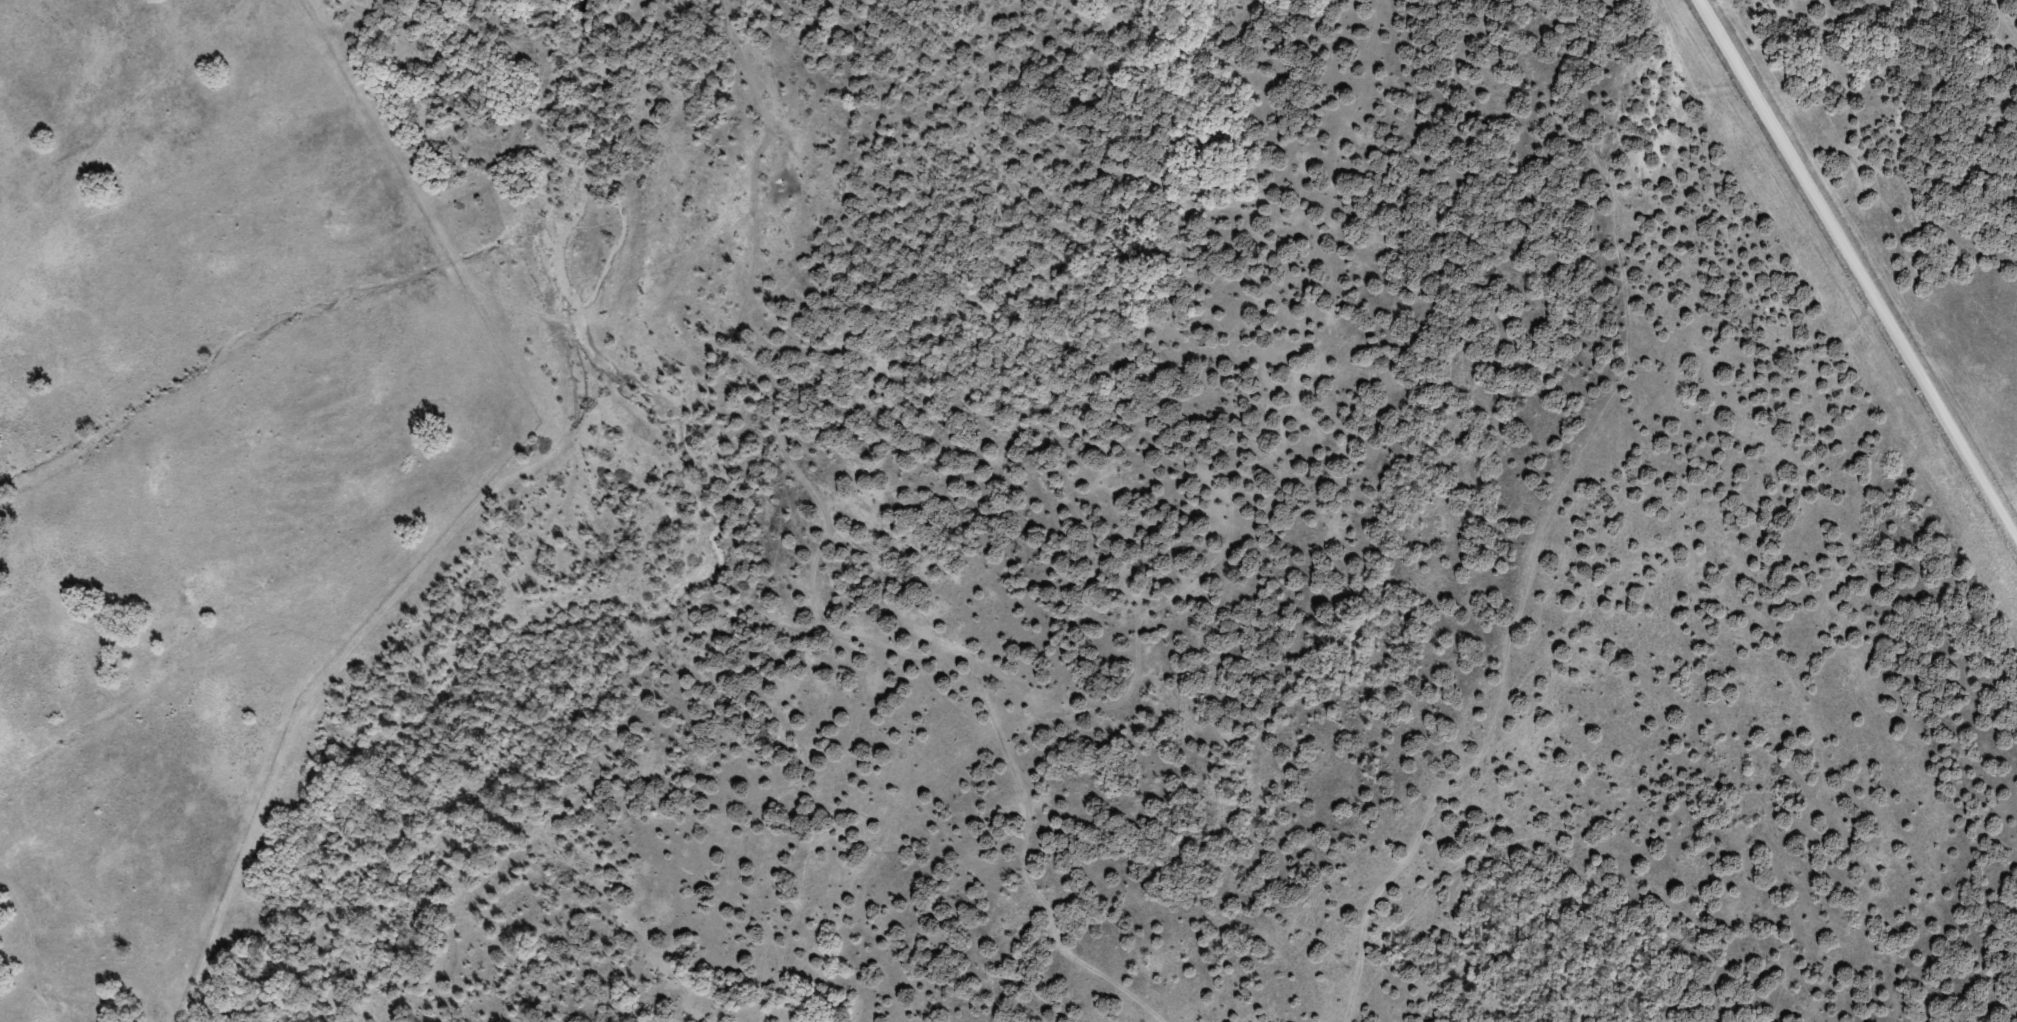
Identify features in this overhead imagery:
road: (1860, 266)

